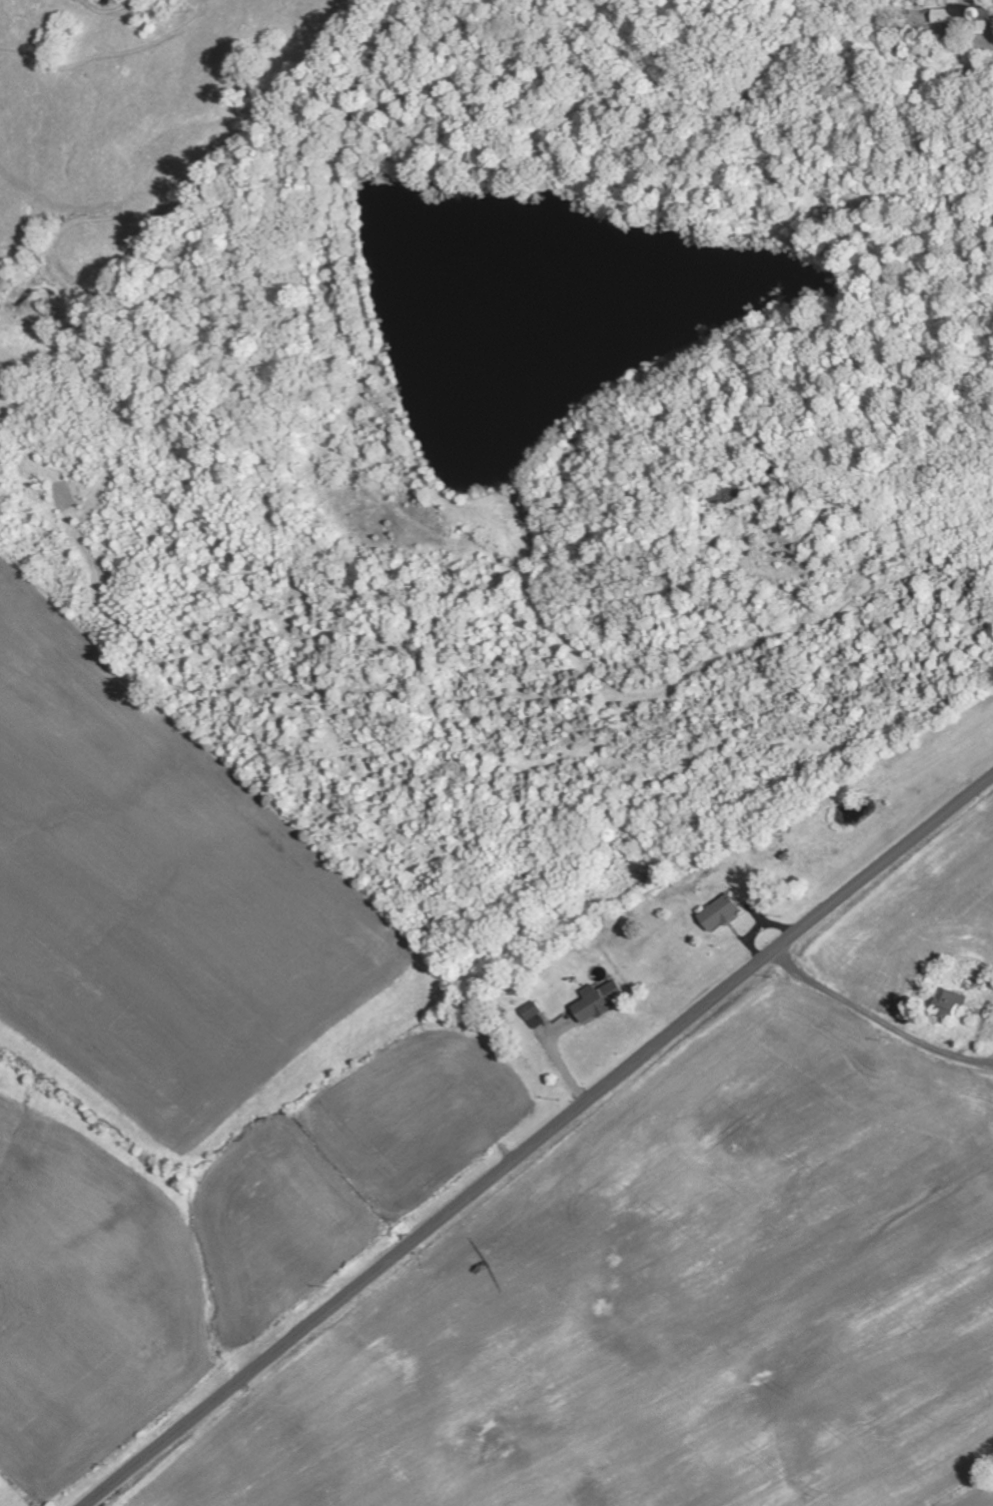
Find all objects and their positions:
building: (957, 17)
building: (981, 21)
building: (726, 913)
building: (604, 1001)
building: (539, 1015)
road: (538, 1140)

